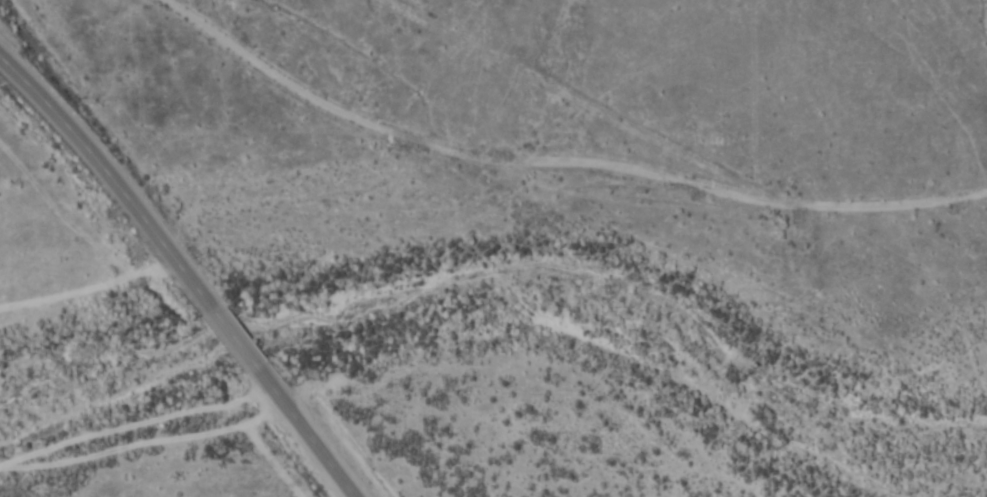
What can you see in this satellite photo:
road: (557, 160)
road: (111, 181)
road: (234, 337)
road: (306, 429)

